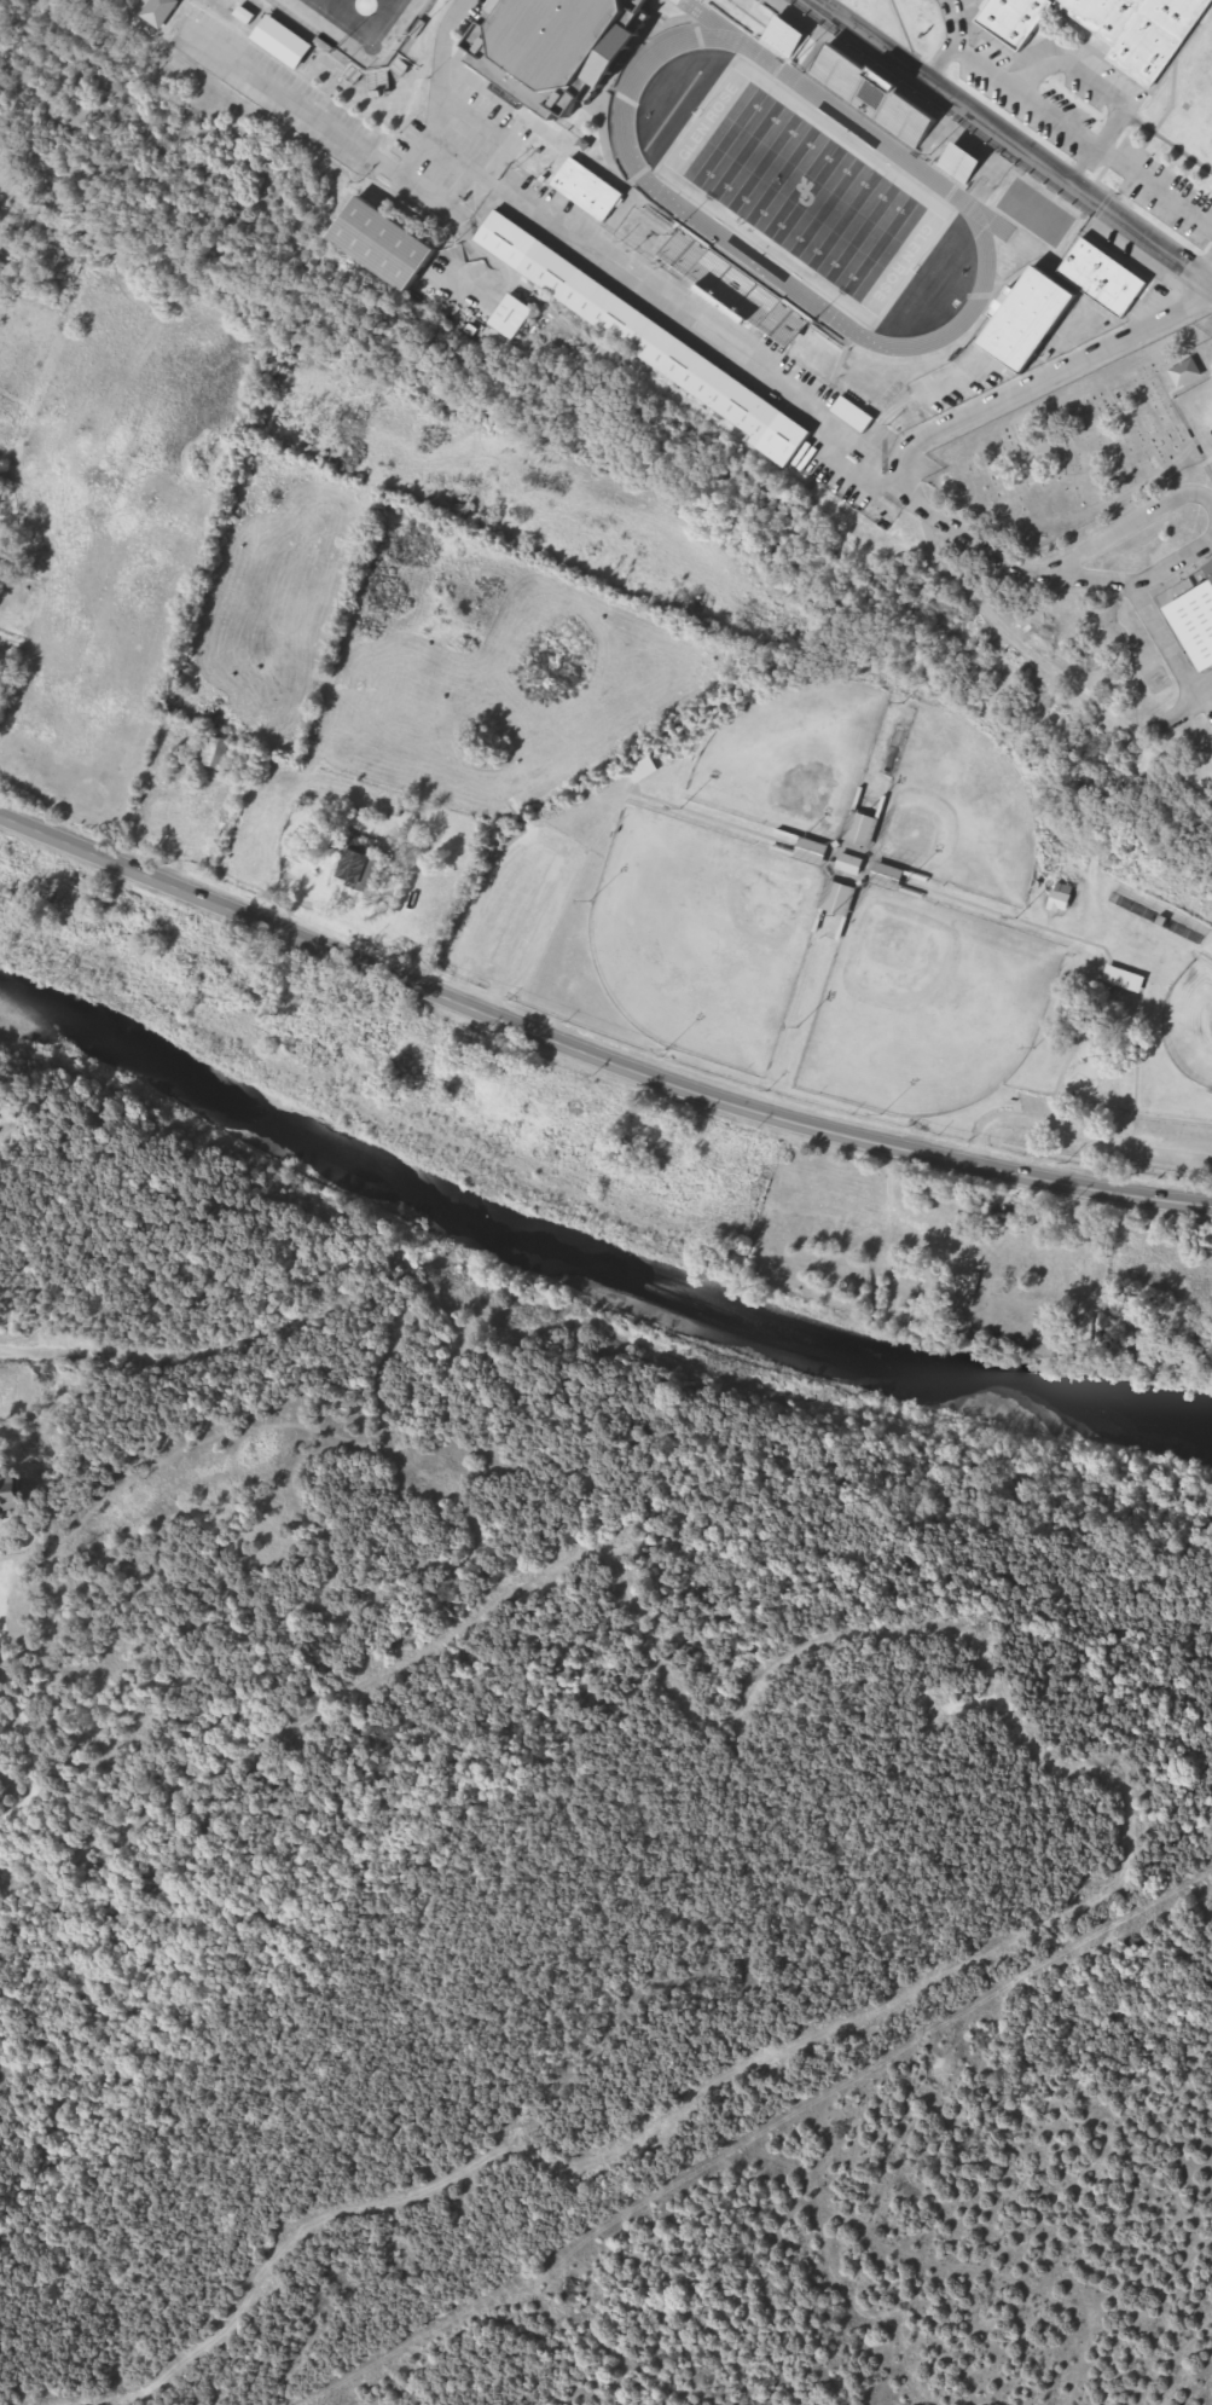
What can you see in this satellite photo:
building: (169, 12)
park: (361, 24)
building: (1112, 25)
park: (555, 31)
road: (945, 40)
road: (1021, 87)
road: (1013, 140)
building: (963, 164)
road: (1153, 182)
building: (588, 189)
park: (808, 192)
building: (389, 244)
road: (1204, 256)
building: (701, 259)
road: (615, 262)
building: (1060, 300)
building: (516, 317)
building: (654, 341)
building: (1189, 373)
road: (700, 411)
building: (857, 415)
park: (1072, 452)
road: (900, 465)
road: (1126, 518)
building: (0, 563)
building: (1, 579)
building: (1196, 618)
building: (218, 752)
park: (789, 753)
building: (644, 770)
park: (959, 810)
building: (364, 864)
building: (852, 864)
building: (1065, 898)
park: (860, 928)
park: (704, 937)
building: (1127, 979)
park: (927, 1006)
park: (1190, 1022)
road: (592, 1054)
building: (12, 1494)

